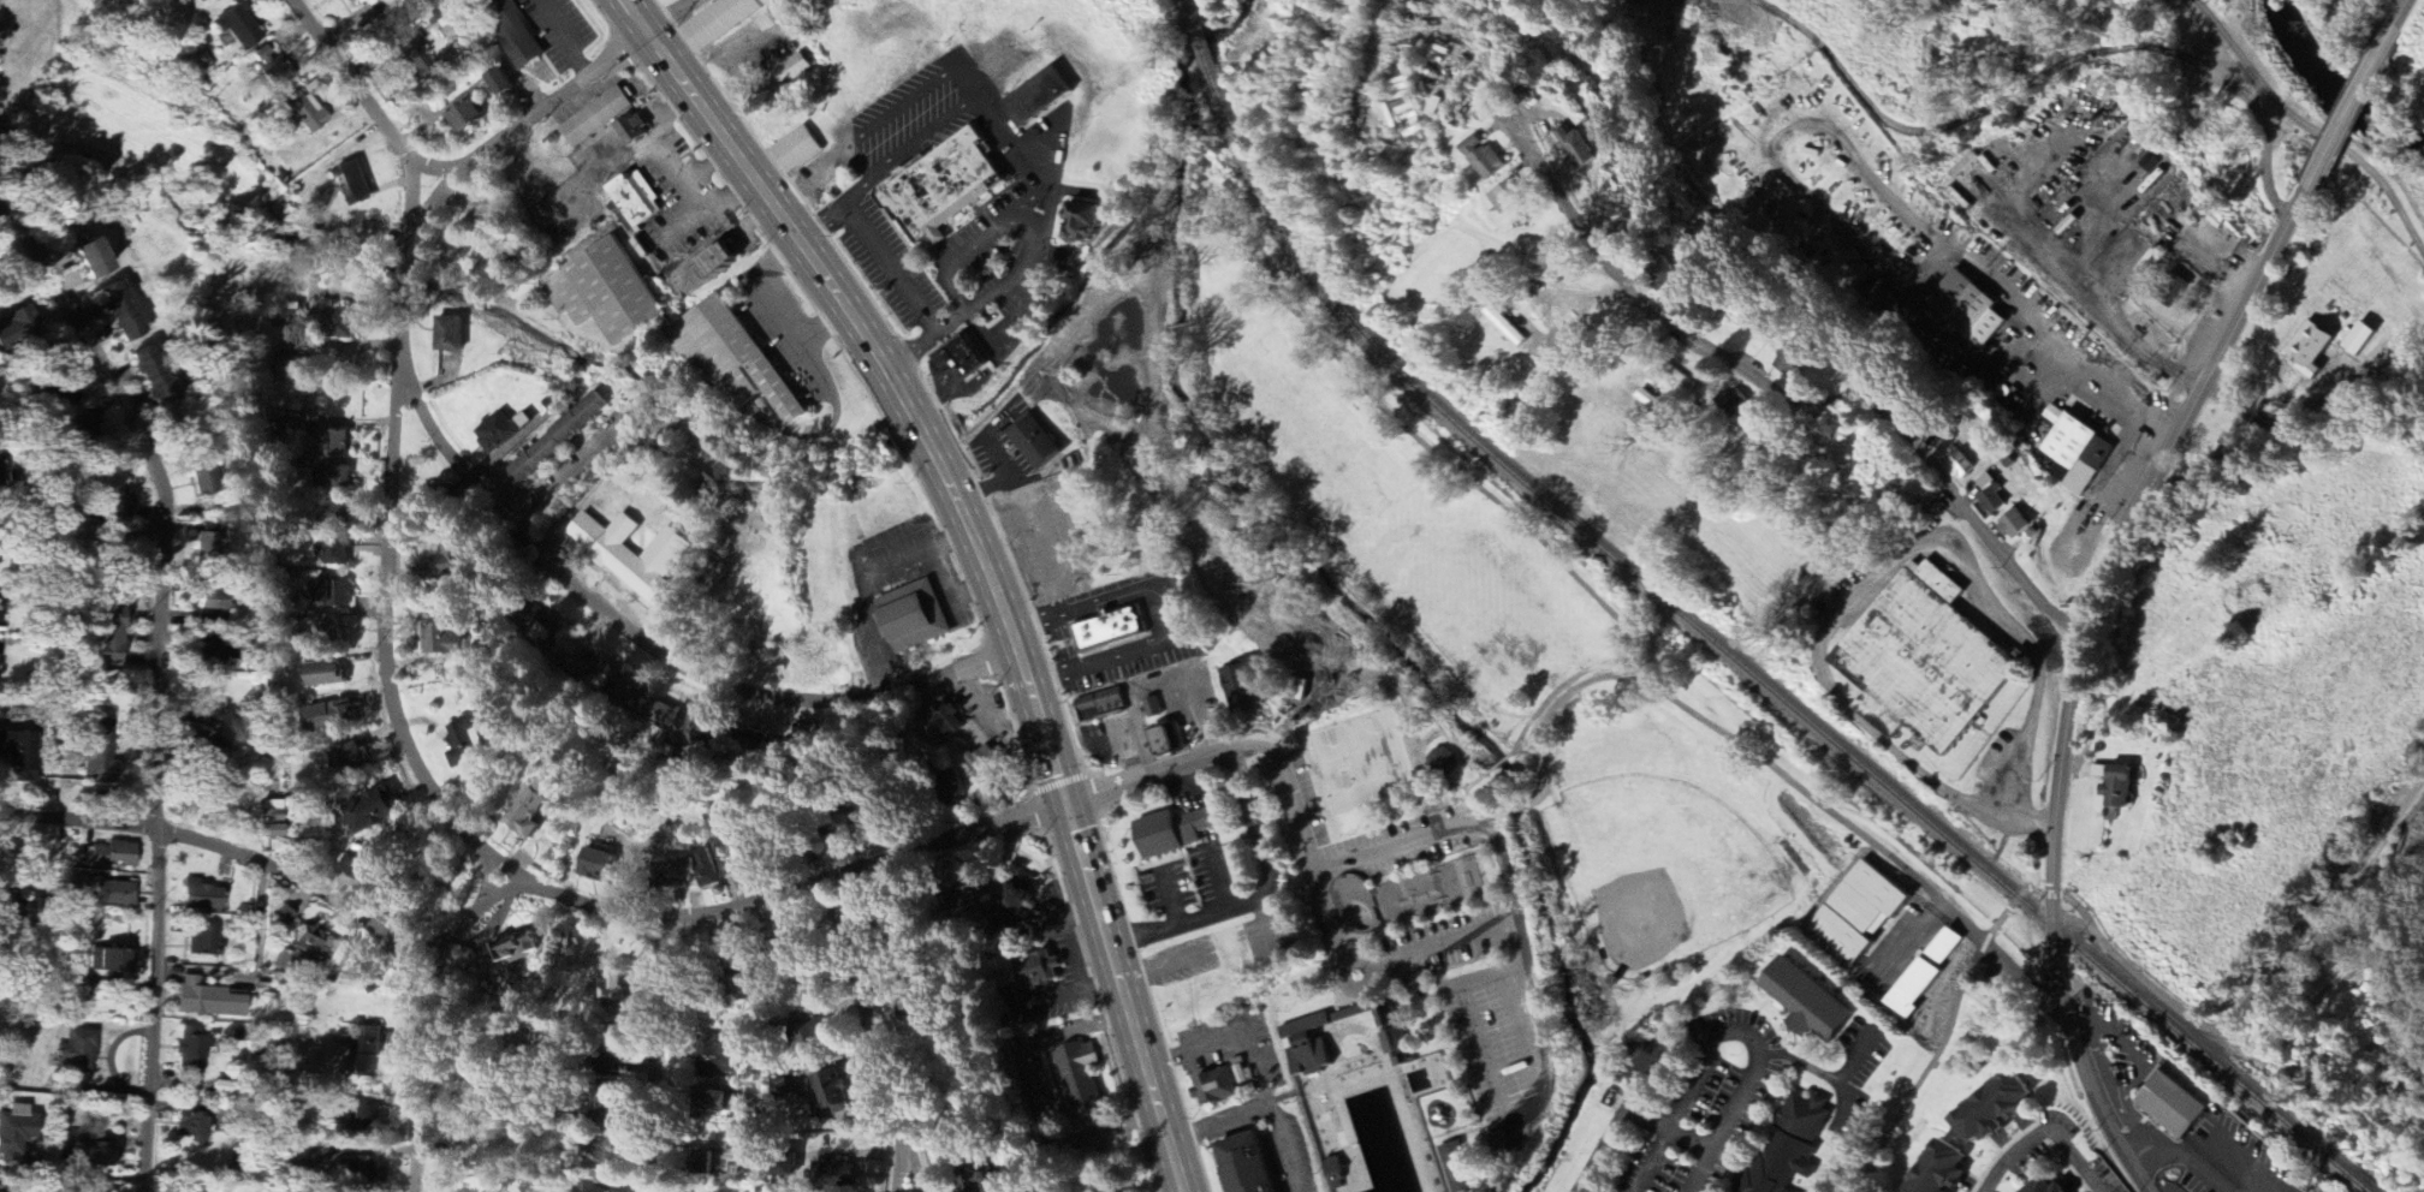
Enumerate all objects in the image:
building: (210, 1)
building: (364, 4)
road: (2404, 11)
building: (720, 22)
building: (238, 28)
building: (510, 31)
building: (418, 50)
building: (794, 71)
building: (501, 82)
building: (1039, 97)
road: (907, 102)
road: (2352, 105)
road: (374, 107)
building: (304, 112)
park: (2307, 112)
building: (468, 117)
building: (598, 117)
road: (2310, 129)
building: (634, 130)
building: (1481, 145)
building: (1587, 148)
road: (909, 149)
building: (797, 150)
building: (1498, 162)
road: (436, 167)
road: (806, 173)
road: (1864, 174)
building: (355, 183)
building: (943, 187)
building: (1517, 196)
building: (636, 199)
road: (1032, 202)
building: (1085, 223)
road: (2103, 231)
road: (1036, 242)
road: (868, 243)
road: (972, 245)
building: (90, 258)
building: (719, 261)
building: (494, 266)
road: (2051, 267)
road: (2214, 270)
road: (1925, 272)
building: (606, 292)
building: (1884, 300)
building: (1971, 309)
building: (120, 312)
building: (335, 321)
building: (285, 322)
road: (1177, 326)
building: (17, 328)
road: (1011, 330)
building: (450, 334)
building: (2361, 339)
building: (2312, 348)
building: (1804, 357)
building: (731, 360)
building: (961, 360)
building: (298, 364)
building: (153, 375)
road: (1057, 394)
building: (63, 395)
road: (1784, 400)
building: (1741, 404)
road: (2232, 407)
road: (2167, 411)
road: (2285, 417)
building: (84, 424)
building: (498, 431)
building: (557, 440)
building: (334, 443)
building: (1038, 445)
building: (2075, 452)
building: (653, 455)
road: (1436, 455)
building: (1963, 466)
road: (606, 472)
building: (333, 477)
building: (206, 478)
building: (720, 482)
road: (165, 495)
building: (1992, 496)
building: (114, 503)
road: (483, 508)
building: (334, 513)
building: (2015, 525)
building: (207, 546)
building: (613, 549)
building: (337, 553)
building: (665, 556)
road: (976, 558)
building: (452, 565)
road: (940, 574)
road: (1873, 585)
building: (332, 594)
building: (0, 604)
road: (1161, 615)
building: (915, 616)
building: (328, 627)
building: (543, 627)
building: (1111, 631)
building: (108, 636)
building: (446, 639)
railway: (1716, 644)
road: (1362, 649)
building: (1927, 662)
building: (325, 674)
road: (2079, 674)
building: (613, 679)
road: (1154, 683)
building: (1242, 689)
building: (1101, 707)
building: (1153, 708)
building: (331, 717)
building: (947, 721)
building: (676, 723)
park: (1471, 737)
building: (469, 739)
building: (1171, 741)
road: (1273, 741)
building: (764, 744)
building: (203, 747)
building: (99, 751)
building: (19, 755)
building: (351, 758)
park: (1360, 759)
road: (1497, 762)
building: (1443, 763)
building: (986, 764)
road: (1772, 770)
road: (1473, 781)
building: (953, 788)
building: (2120, 788)
building: (273, 789)
traffic signals: (1059, 805)
road: (1473, 805)
building: (533, 806)
road: (1513, 807)
building: (374, 811)
road: (1487, 816)
building: (271, 824)
building: (1175, 833)
building: (753, 852)
road: (239, 853)
building: (113, 854)
building: (595, 866)
park: (1657, 866)
building: (355, 869)
building: (685, 872)
road: (528, 883)
building: (974, 888)
building: (114, 894)
park: (1404, 896)
building: (201, 898)
road: (1255, 898)
building: (1017, 904)
building: (1864, 912)
building: (283, 917)
building: (872, 923)
building: (202, 942)
building: (313, 944)
road: (1426, 948)
building: (511, 952)
road: (417, 954)
park: (2366, 956)
building: (275, 959)
building: (115, 961)
building: (1038, 971)
building: (1927, 976)
road: (2347, 979)
building: (618, 985)
road: (1510, 991)
building: (206, 1000)
building: (1808, 1005)
road: (158, 1006)
building: (903, 1015)
road: (422, 1017)
road: (2222, 1027)
road: (872, 1037)
building: (1395, 1037)
building: (815, 1039)
building: (1314, 1043)
road: (1671, 1048)
building: (76, 1053)
building: (190, 1053)
building: (367, 1053)
building: (719, 1057)
road: (656, 1059)
building: (611, 1063)
road: (1925, 1067)
building: (1081, 1079)
building: (1217, 1089)
building: (832, 1093)
building: (719, 1103)
building: (2175, 1104)
building: (1997, 1108)
road: (1676, 1114)
building: (364, 1115)
building: (192, 1127)
building: (16, 1131)
road: (2039, 1132)
road: (1681, 1134)
building: (71, 1137)
building: (1789, 1148)
building: (100, 1154)
building: (595, 1158)
road: (2197, 1158)
building: (315, 1161)
building: (705, 1164)
building: (1248, 1166)
building: (1457, 1168)
building: (367, 1169)
road: (1699, 1169)
building: (1944, 1169)
road: (914, 1173)
building: (833, 1174)
building: (1335, 1174)
building: (976, 1178)
building: (2048, 1186)
building: (97, 1187)
building: (593, 1187)
building: (1279, 1191)

